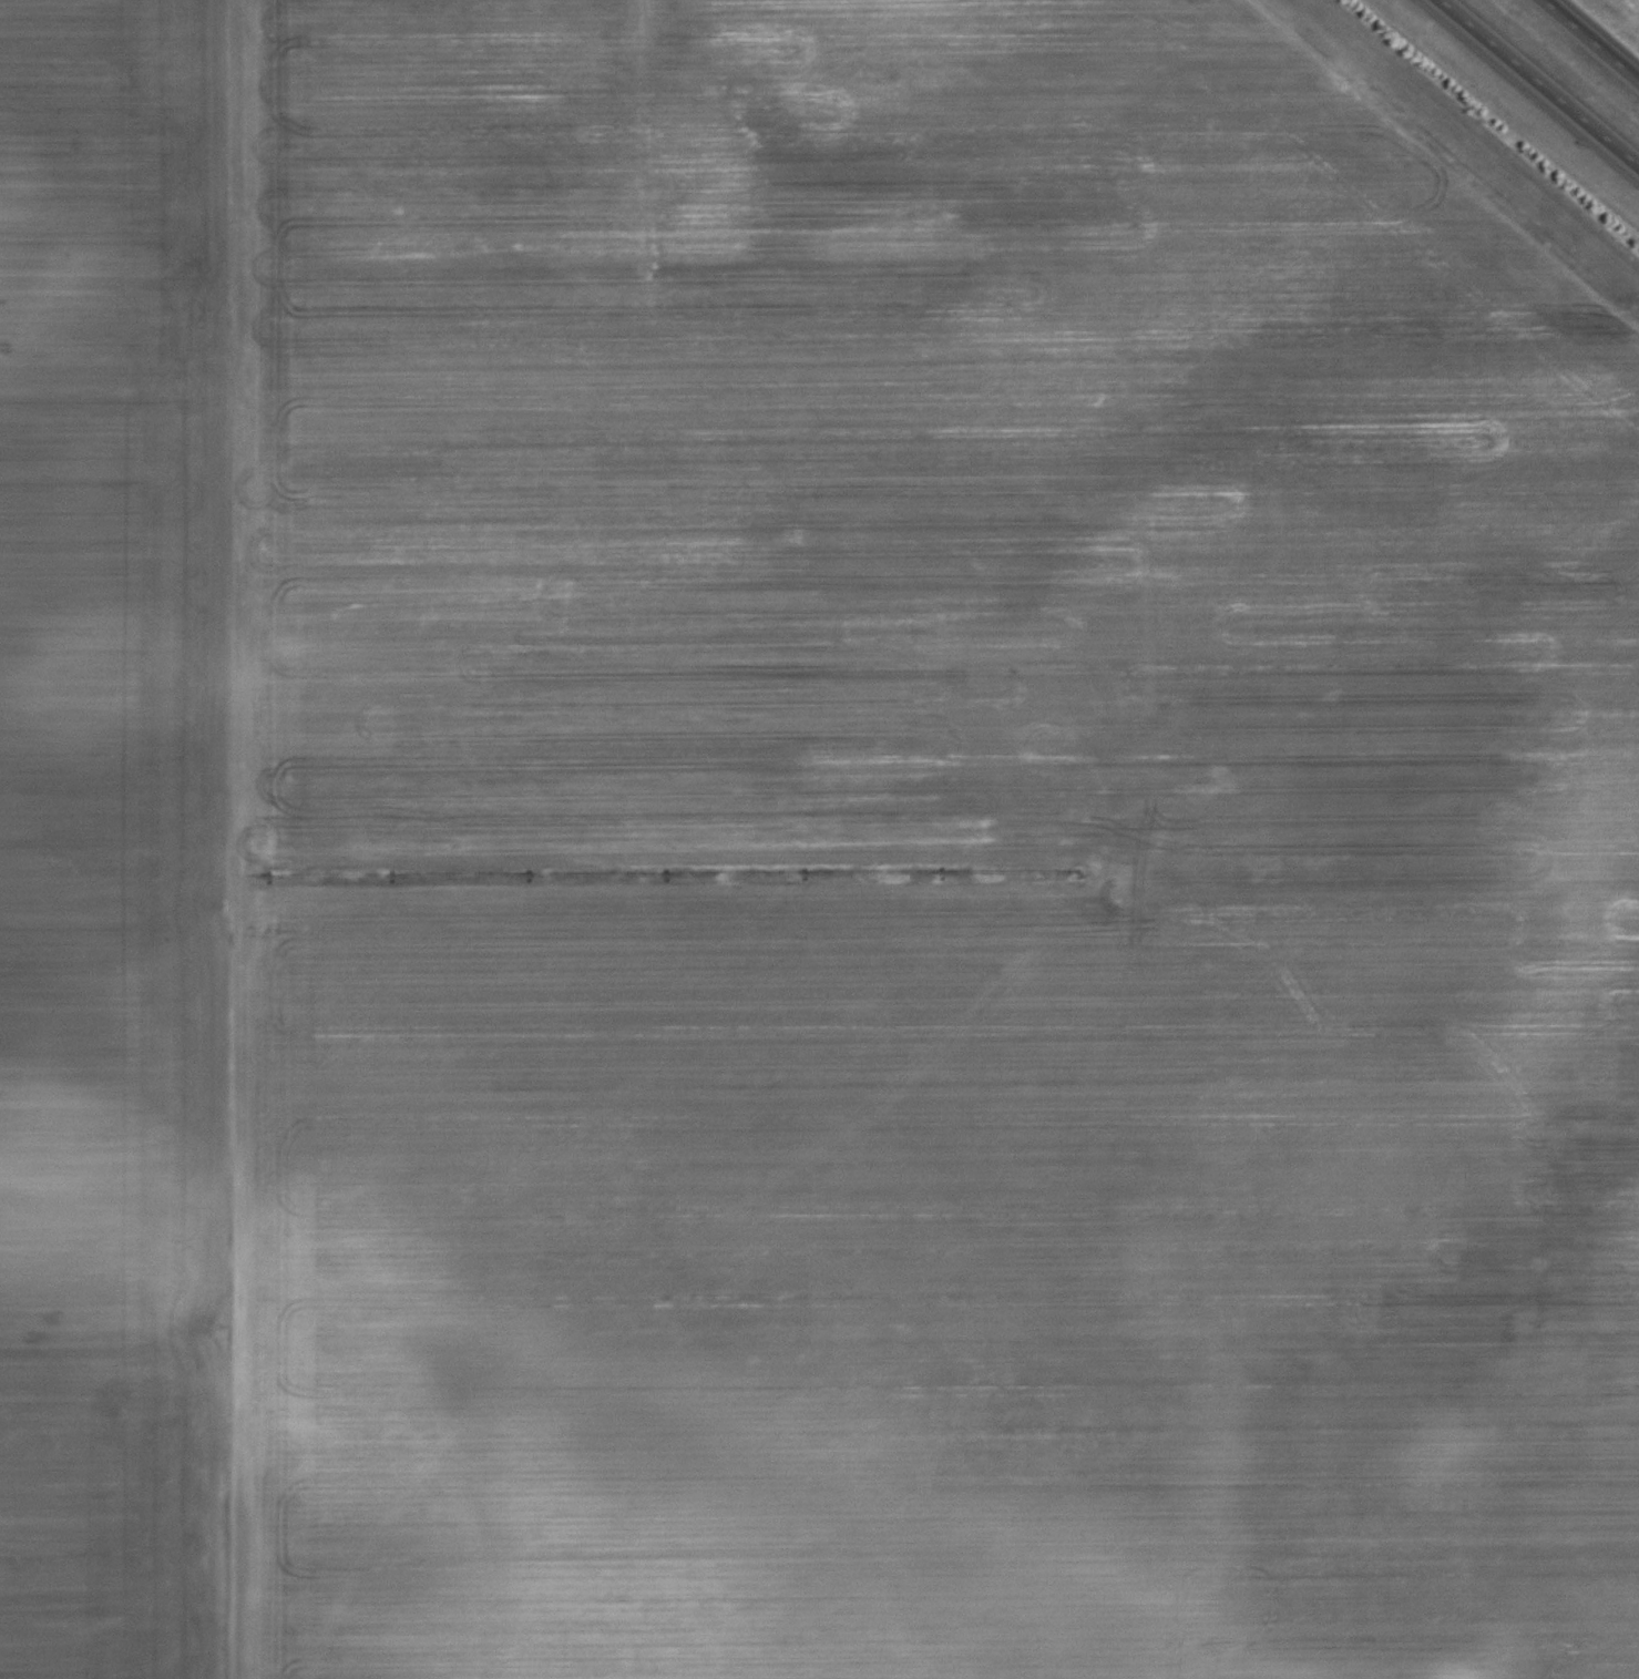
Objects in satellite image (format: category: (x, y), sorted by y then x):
road: (1595, 37)
road: (1536, 85)

